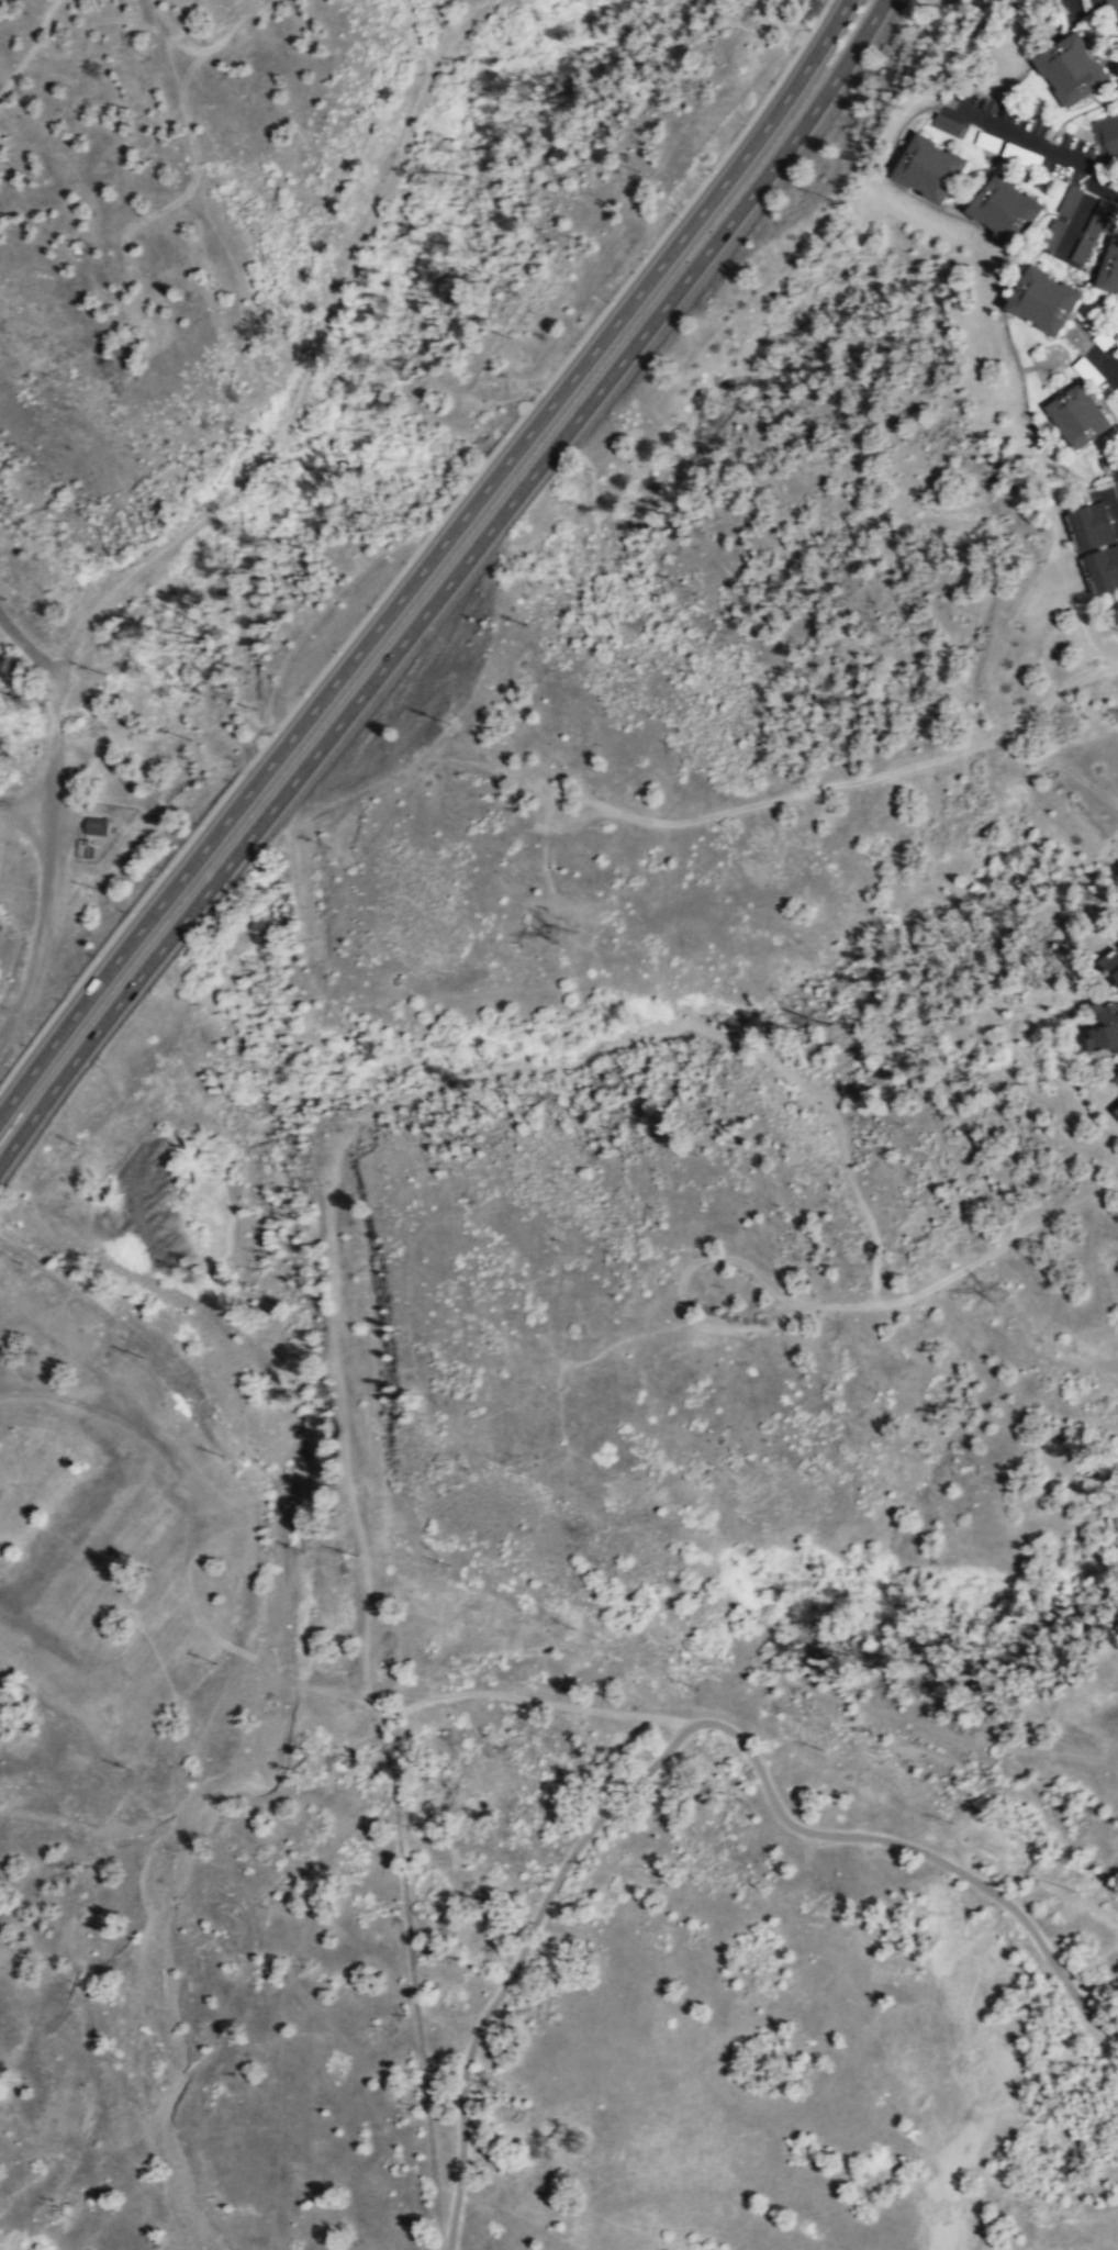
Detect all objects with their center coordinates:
road: (156, 14)
road: (24, 20)
street lamp: (809, 26)
road: (776, 29)
road: (212, 30)
road: (417, 34)
road: (85, 35)
road: (27, 48)
building: (1070, 67)
street lamp: (774, 80)
street lamp: (744, 123)
building: (944, 124)
building: (1107, 136)
road: (1036, 143)
road: (672, 144)
building: (927, 167)
street lamp: (711, 168)
building: (1003, 208)
street lamp: (675, 213)
road: (213, 226)
building: (1077, 226)
road: (998, 243)
street lamp: (640, 258)
building: (1109, 268)
building: (1041, 299)
street lamp: (607, 301)
street lamp: (573, 345)
road: (308, 365)
road: (1103, 365)
building: (1087, 370)
street lamp: (539, 389)
building: (1076, 415)
street lamp: (506, 431)
street lamp: (471, 475)
road: (1115, 494)
street lamp: (437, 520)
building: (1092, 524)
road: (418, 545)
road: (431, 560)
street lamp: (404, 561)
building: (1103, 567)
road: (1064, 568)
road: (446, 584)
street lamp: (369, 606)
building: (1115, 615)
road: (29, 649)
street lamp: (335, 650)
street lamp: (302, 692)
street lamp: (270, 733)
street lamp: (233, 781)
road: (804, 790)
parking lot: (26, 814)
street lamp: (199, 824)
building: (94, 825)
street lamp: (82, 845)
road: (48, 862)
street lamp: (164, 868)
street lamp: (128, 912)
power tower: (563, 944)
street lamp: (96, 955)
building: (1111, 968)
building: (1104, 1032)
building: (1115, 1081)
building: (1117, 1111)
road: (970, 1265)
road: (682, 1286)
power tower: (993, 1296)
park: (606, 1386)
road: (264, 1664)
road: (680, 1735)
road: (412, 1971)

